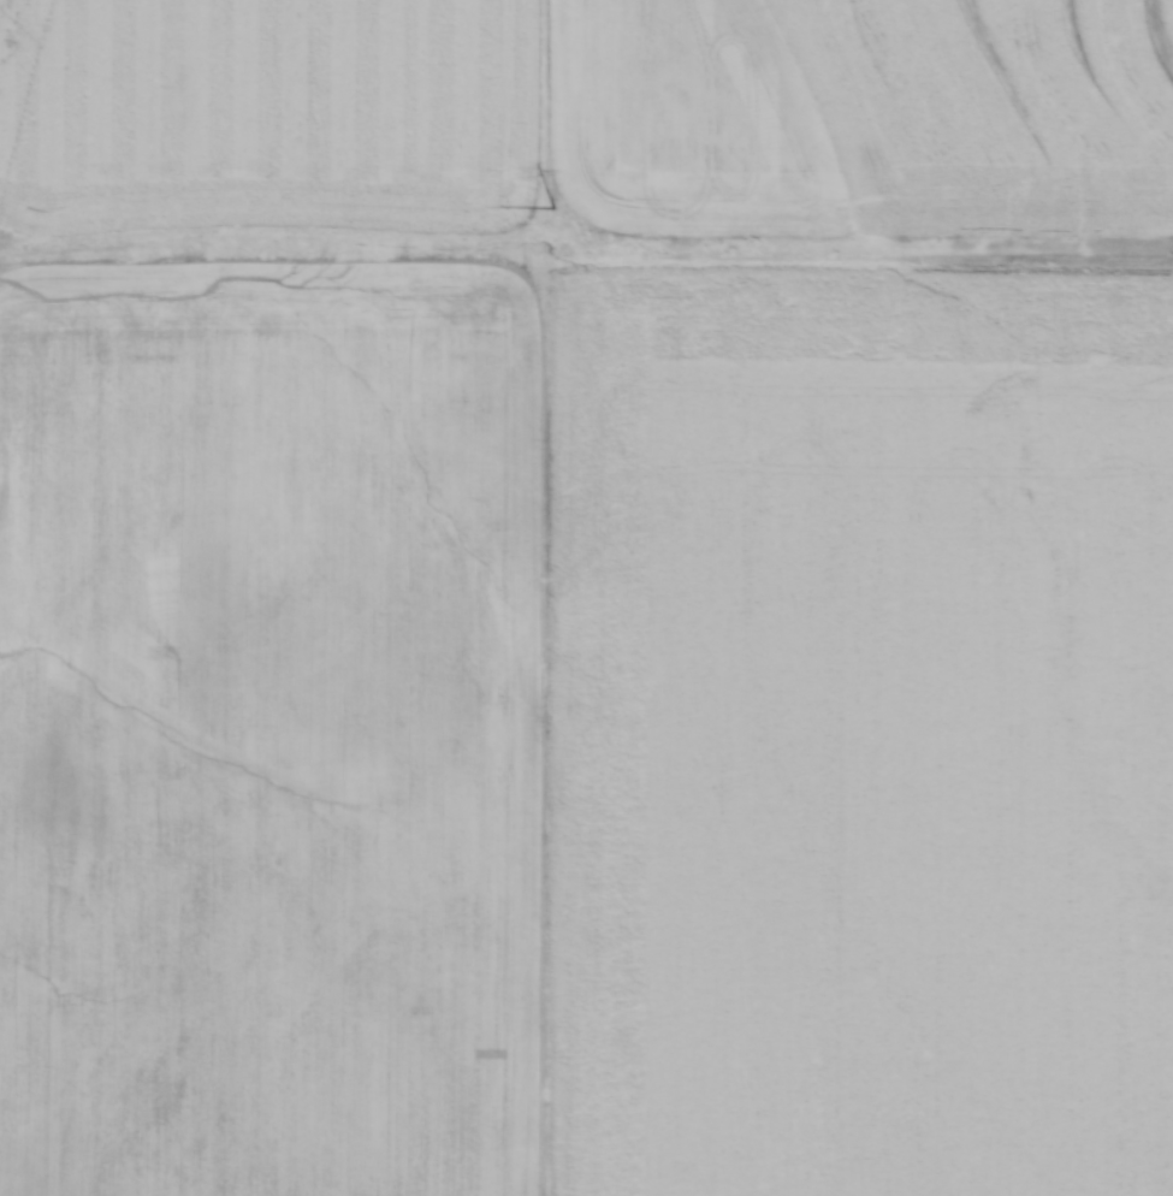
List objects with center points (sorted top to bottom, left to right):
power tower: (555, 207)

